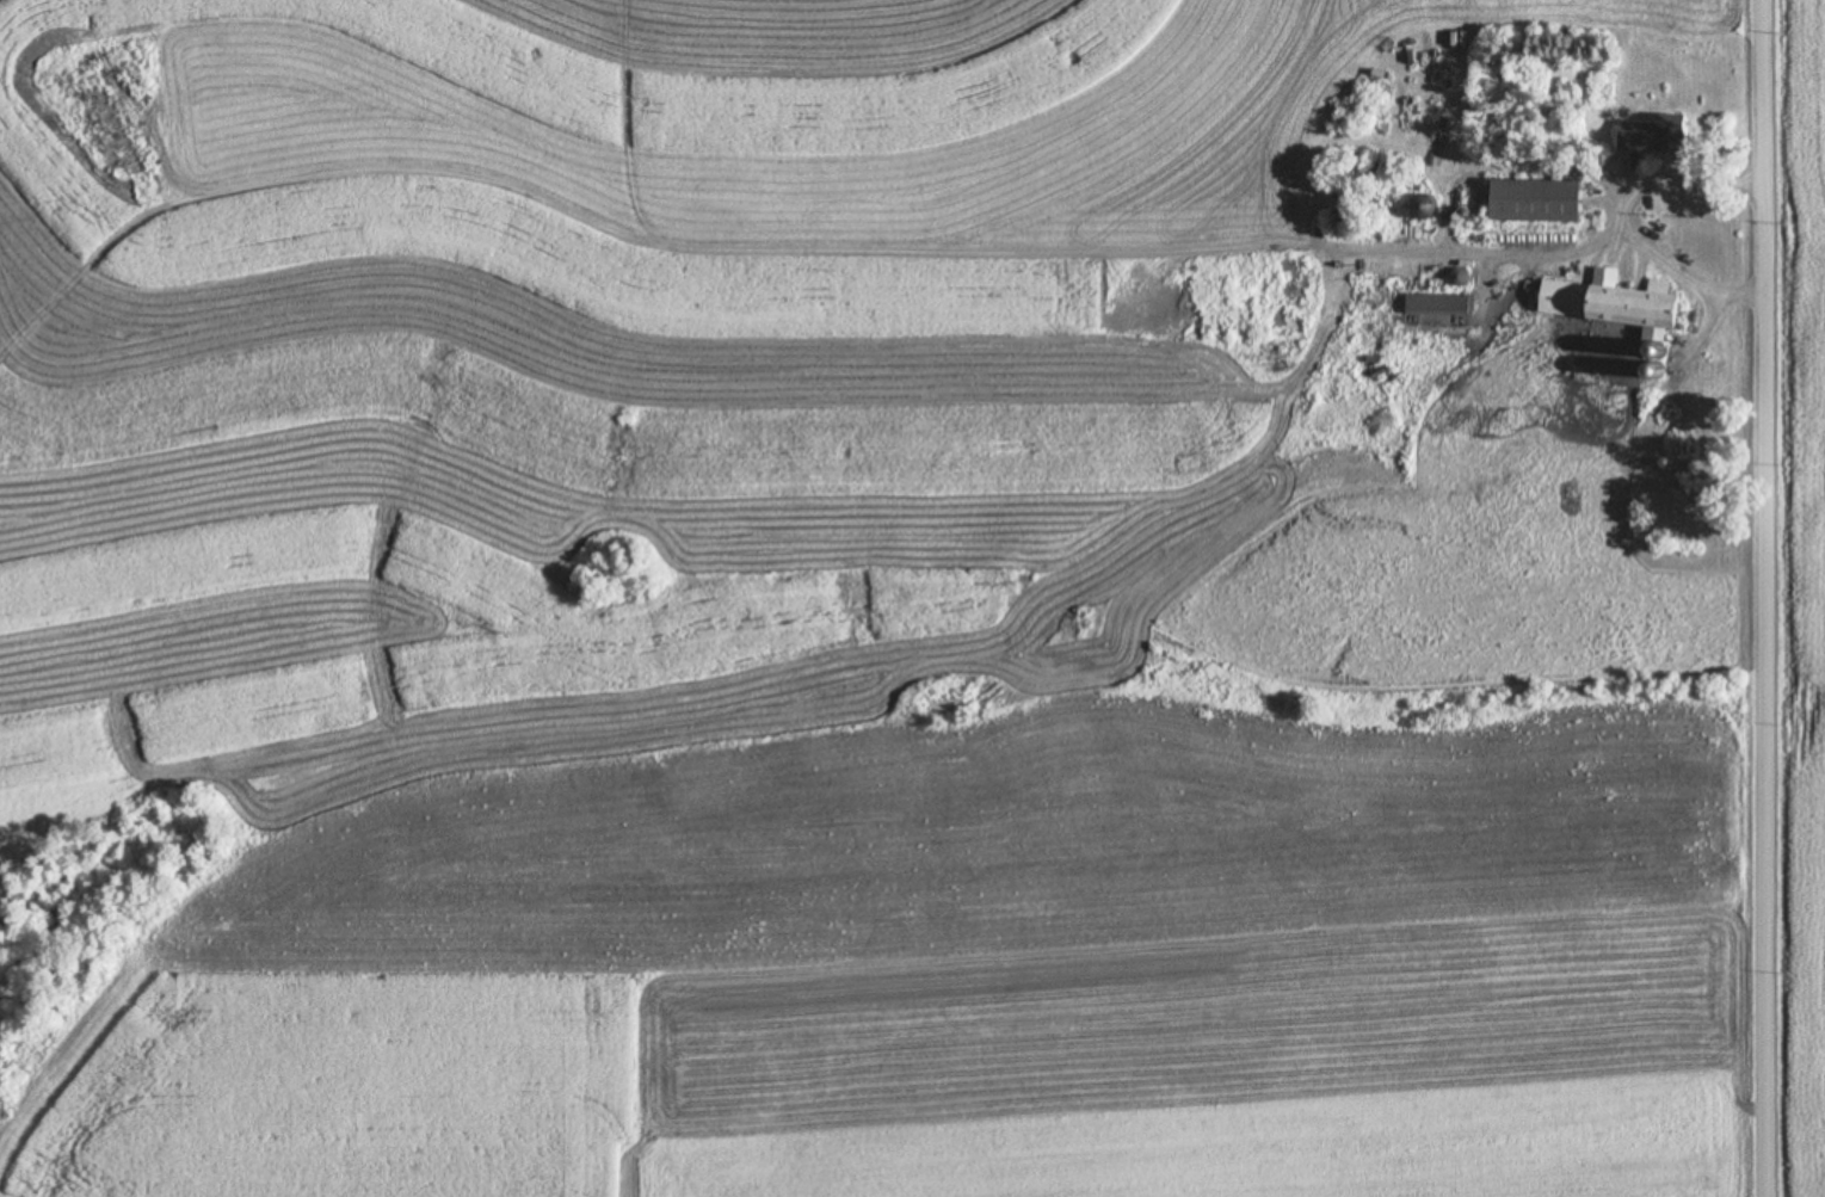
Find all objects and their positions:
building: (1648, 136)
building: (1540, 199)
building: (1426, 206)
road: (1626, 215)
road: (1567, 247)
building: (1439, 303)
building: (1616, 303)
road: (1697, 332)
building: (1679, 465)
road: (1770, 598)

